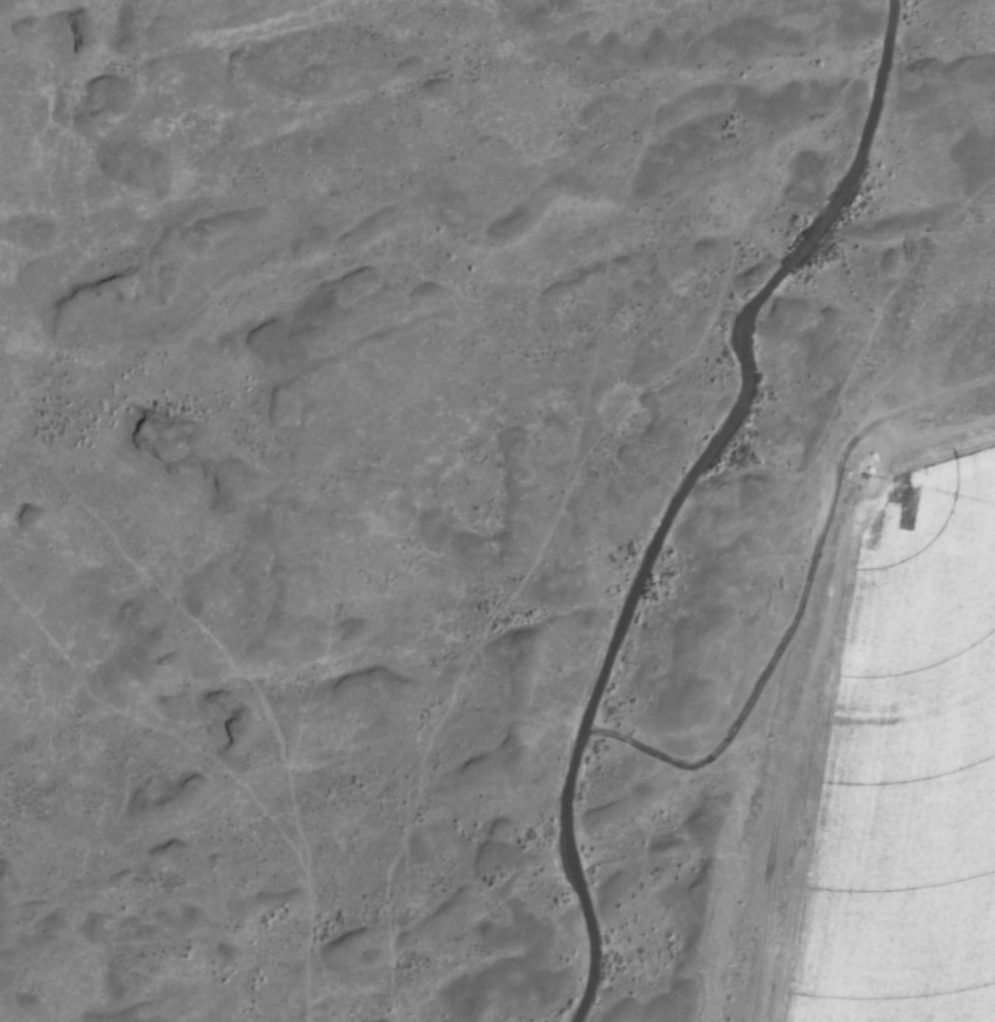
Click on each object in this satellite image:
road: (675, 493)

